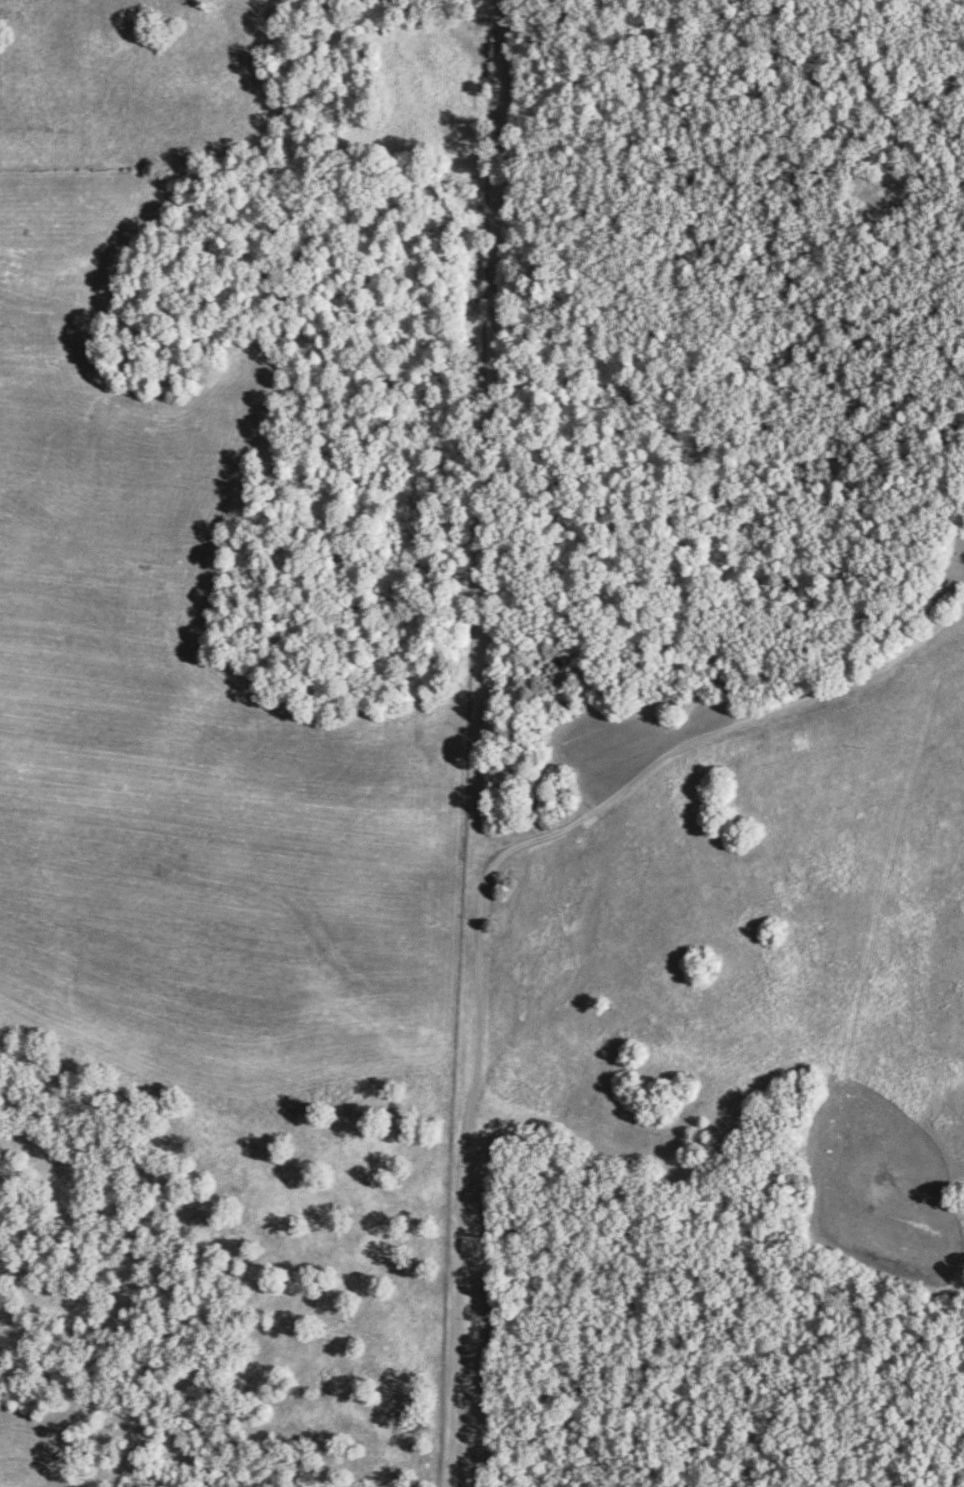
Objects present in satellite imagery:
road: (480, 902)

